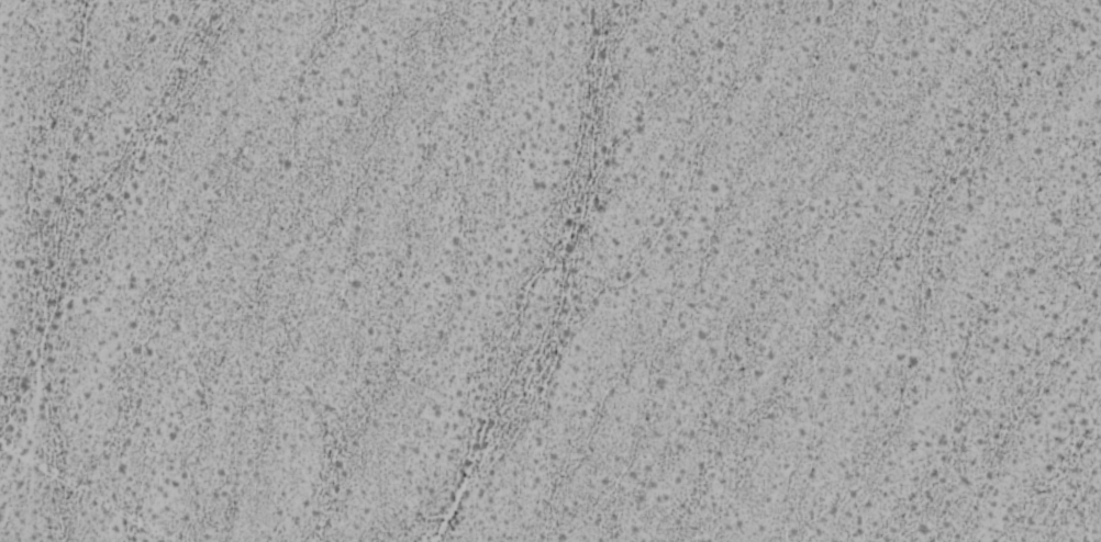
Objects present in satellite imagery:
road: (97, 486)

